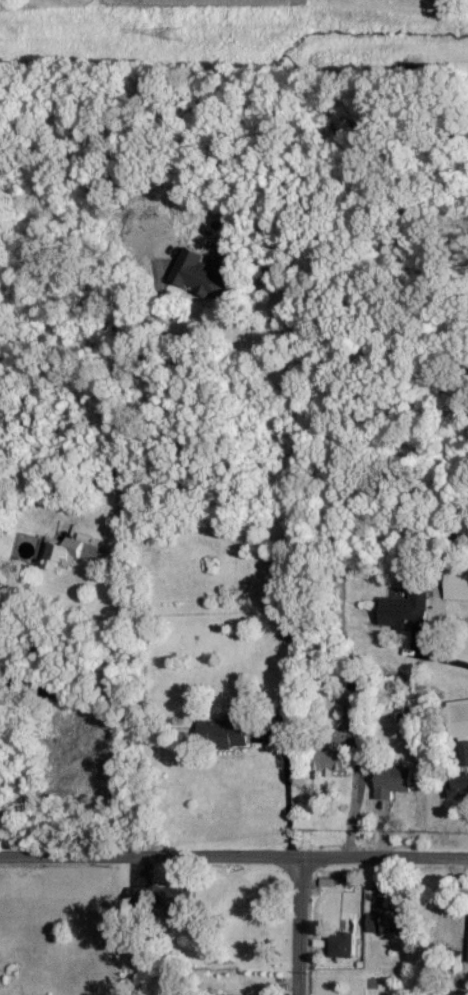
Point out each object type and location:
building: (201, 276)
building: (64, 553)
road: (120, 554)
building: (457, 584)
building: (406, 610)
road: (439, 657)
building: (355, 710)
building: (459, 717)
building: (223, 733)
building: (330, 760)
building: (460, 777)
building: (393, 781)
road: (287, 795)
road: (233, 857)
building: (164, 898)
building: (392, 923)
road: (297, 927)
building: (465, 927)
building: (343, 944)

